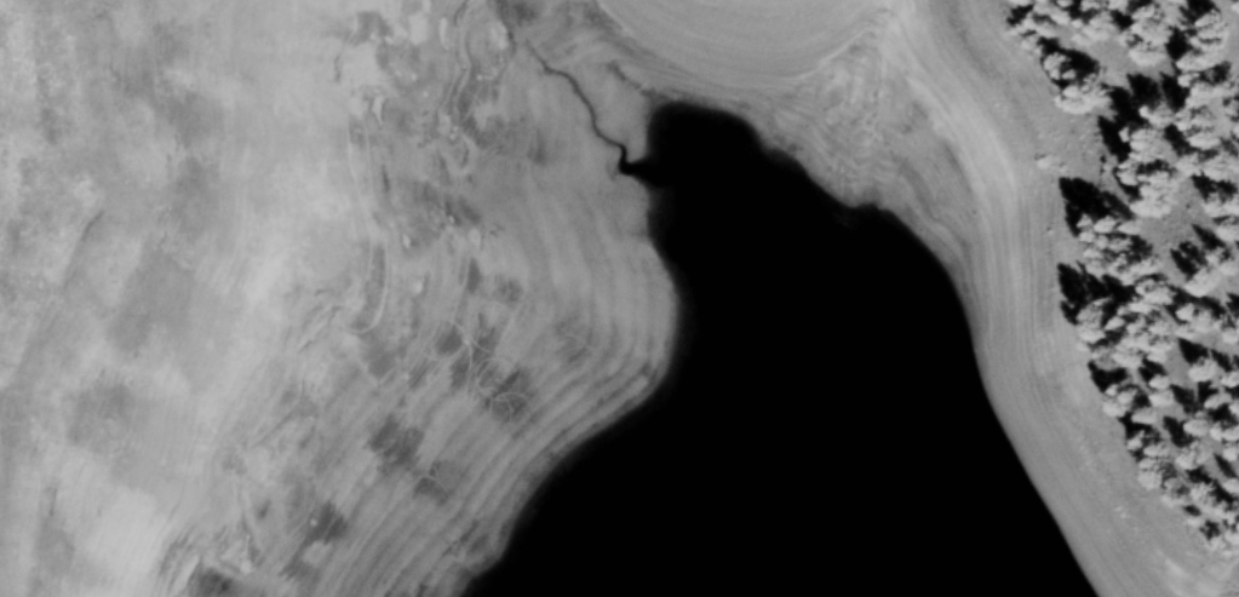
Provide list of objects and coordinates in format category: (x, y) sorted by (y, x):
road: (1131, 264)

